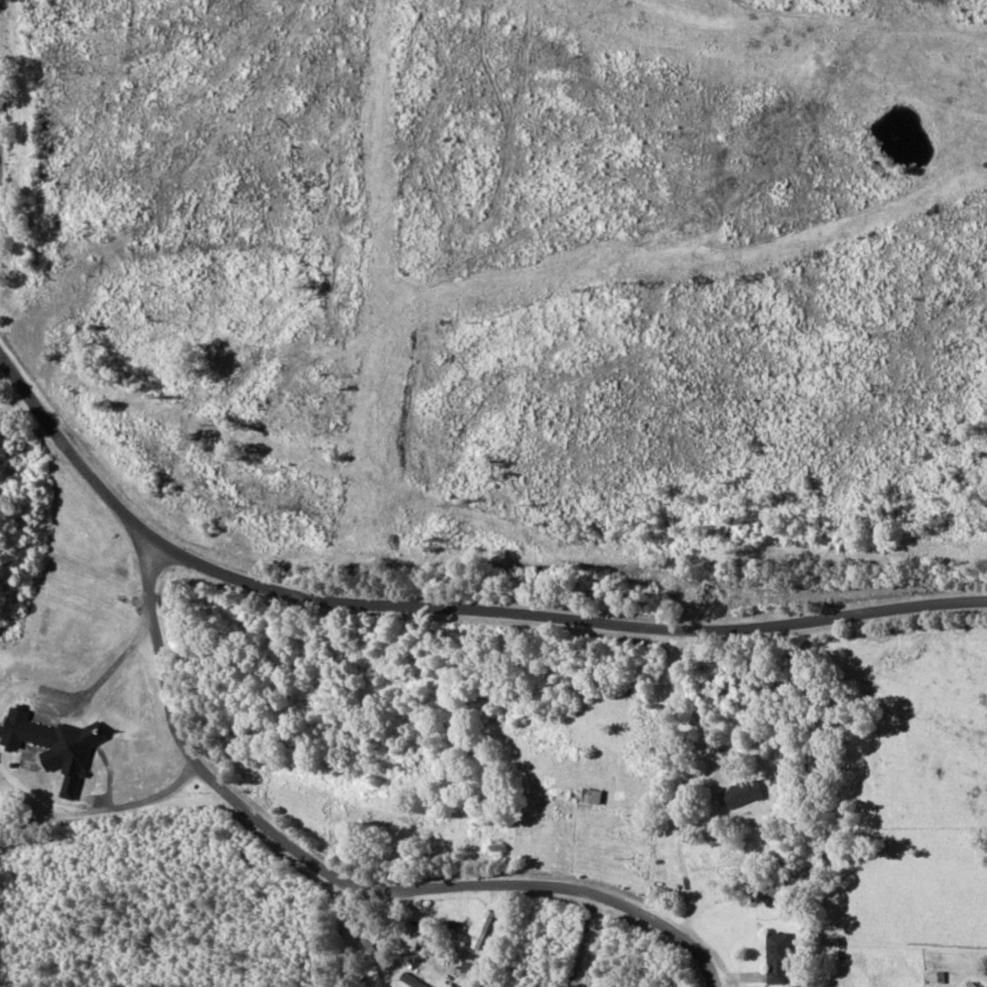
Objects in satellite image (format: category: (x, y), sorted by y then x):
road: (83, 523)
road: (568, 670)
building: (53, 745)
building: (742, 792)
road: (103, 869)
road: (329, 924)
building: (776, 958)
building: (411, 982)
building: (970, 984)

